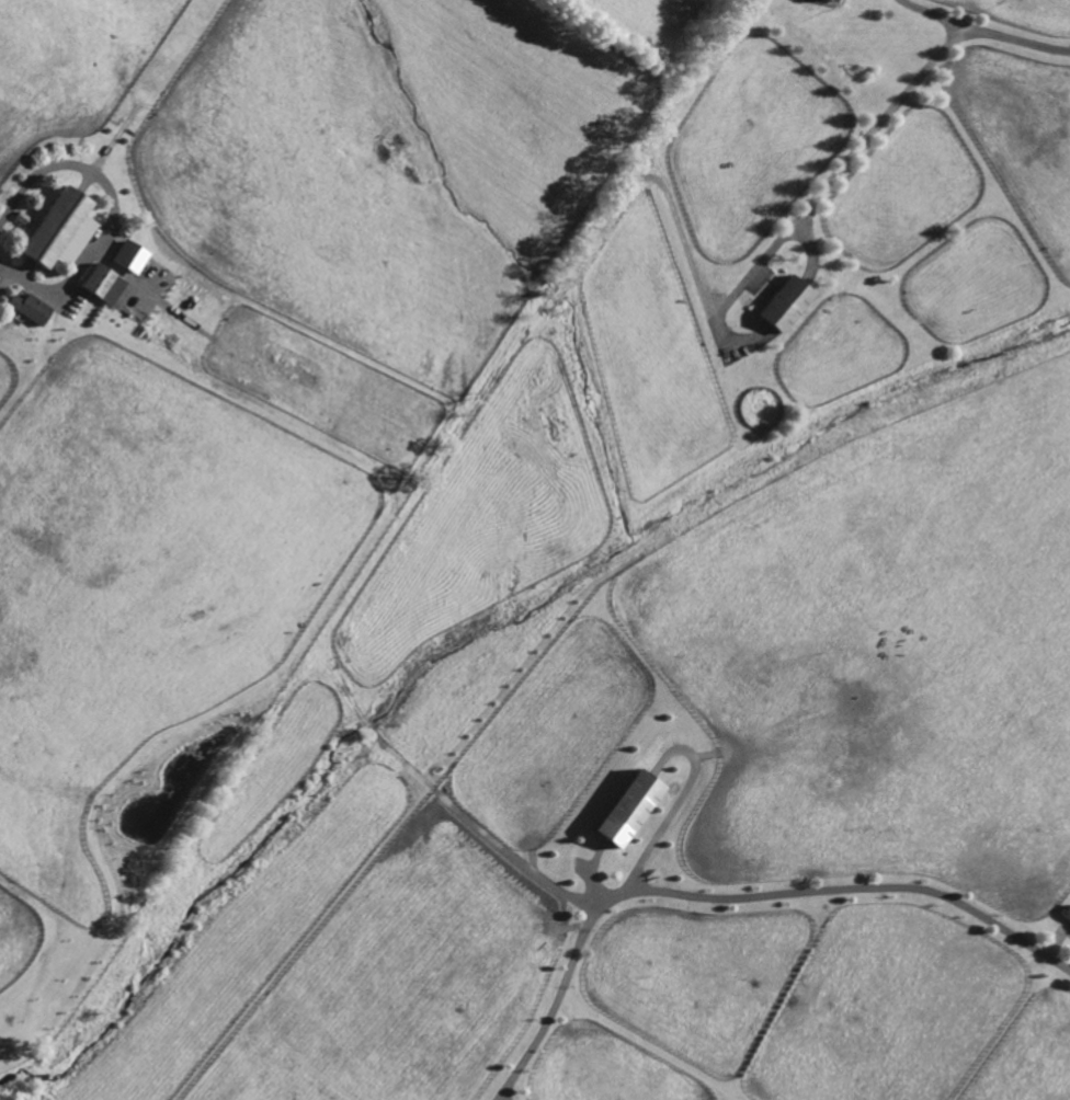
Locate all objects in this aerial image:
building: (832, 0)
road: (986, 31)
road: (841, 164)
road: (112, 206)
building: (21, 217)
building: (50, 226)
building: (127, 252)
road: (117, 267)
road: (5, 277)
building: (101, 283)
building: (784, 302)
building: (29, 307)
building: (626, 805)
road: (675, 807)
road: (730, 895)
building: (1066, 913)

